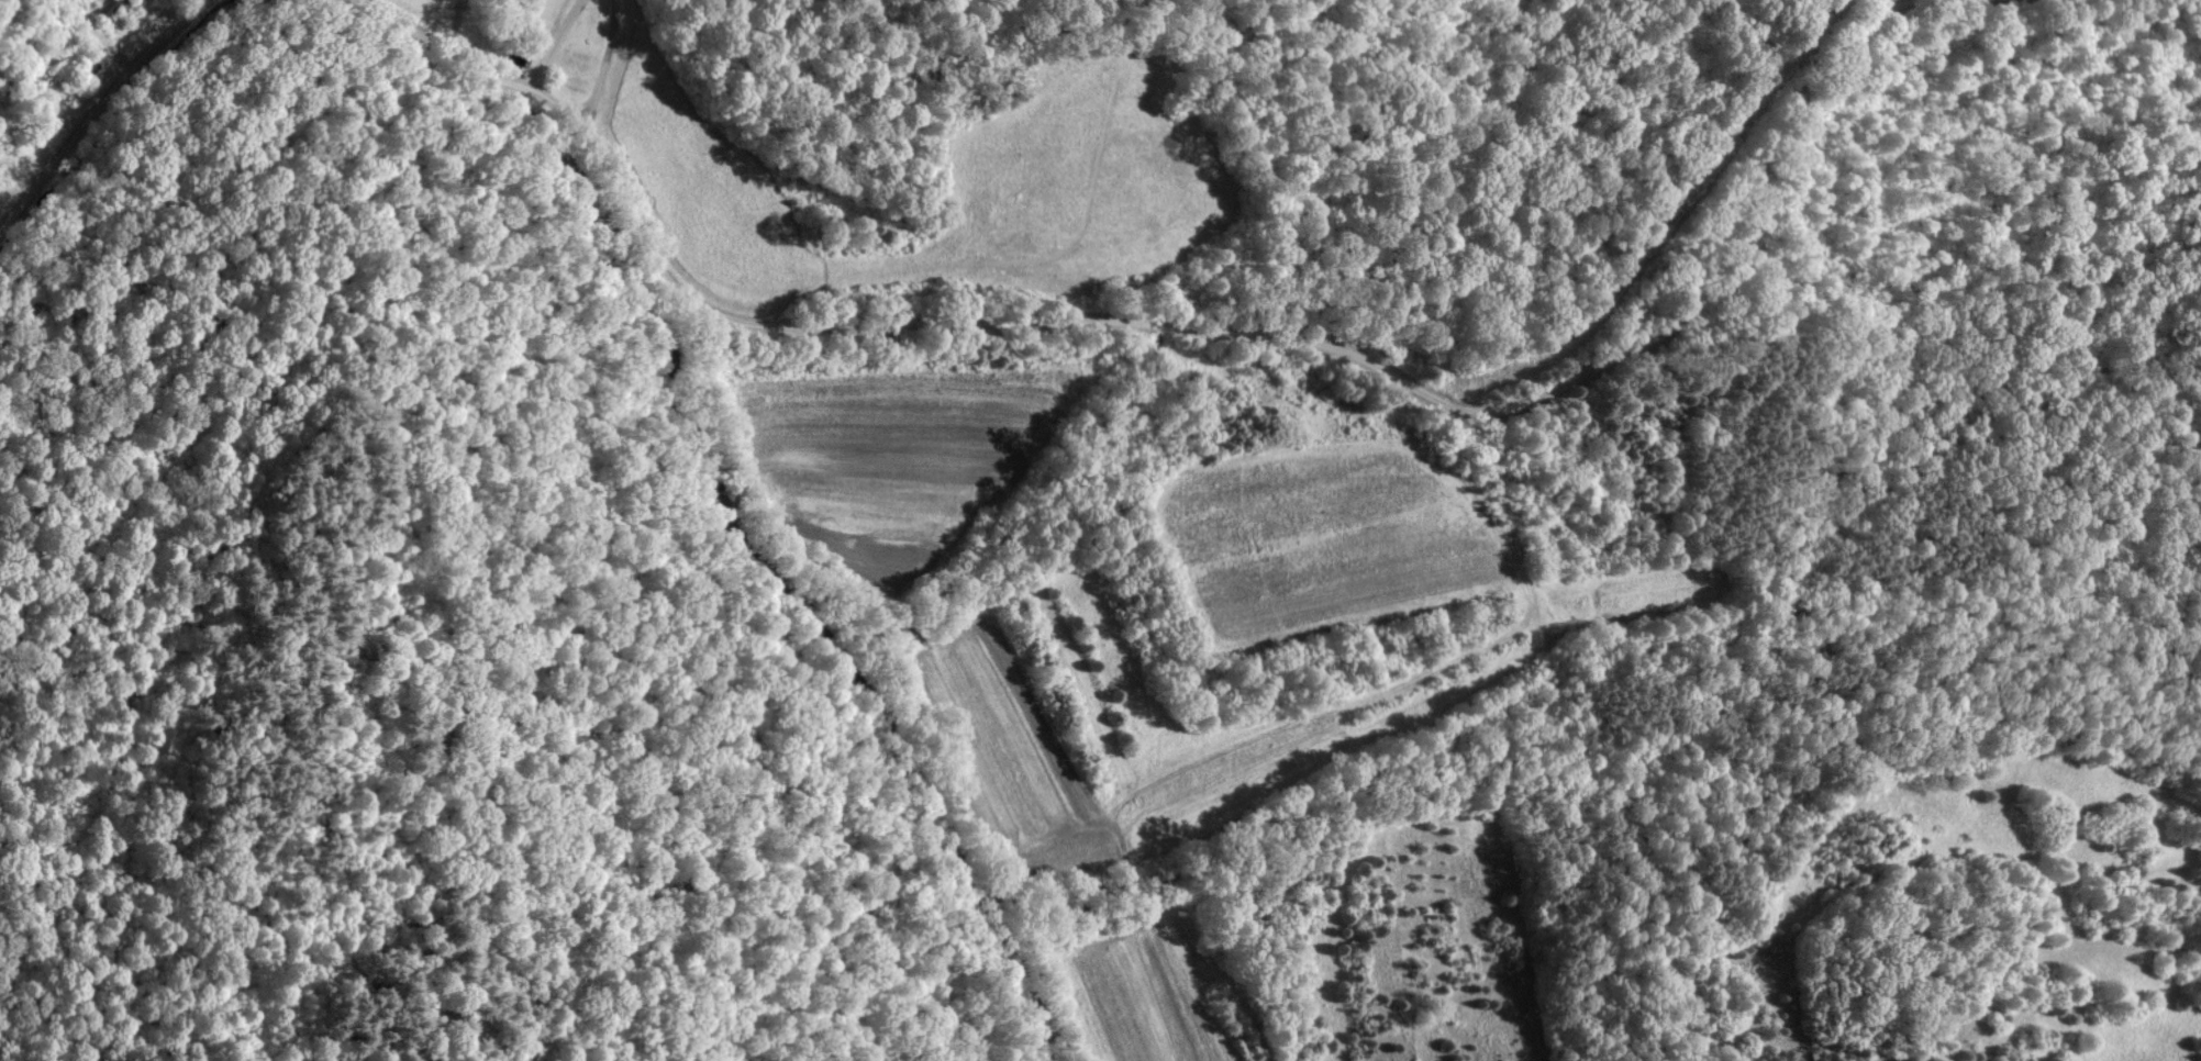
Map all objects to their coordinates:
building: (104, 8)
road: (97, 111)
road: (1177, 324)

